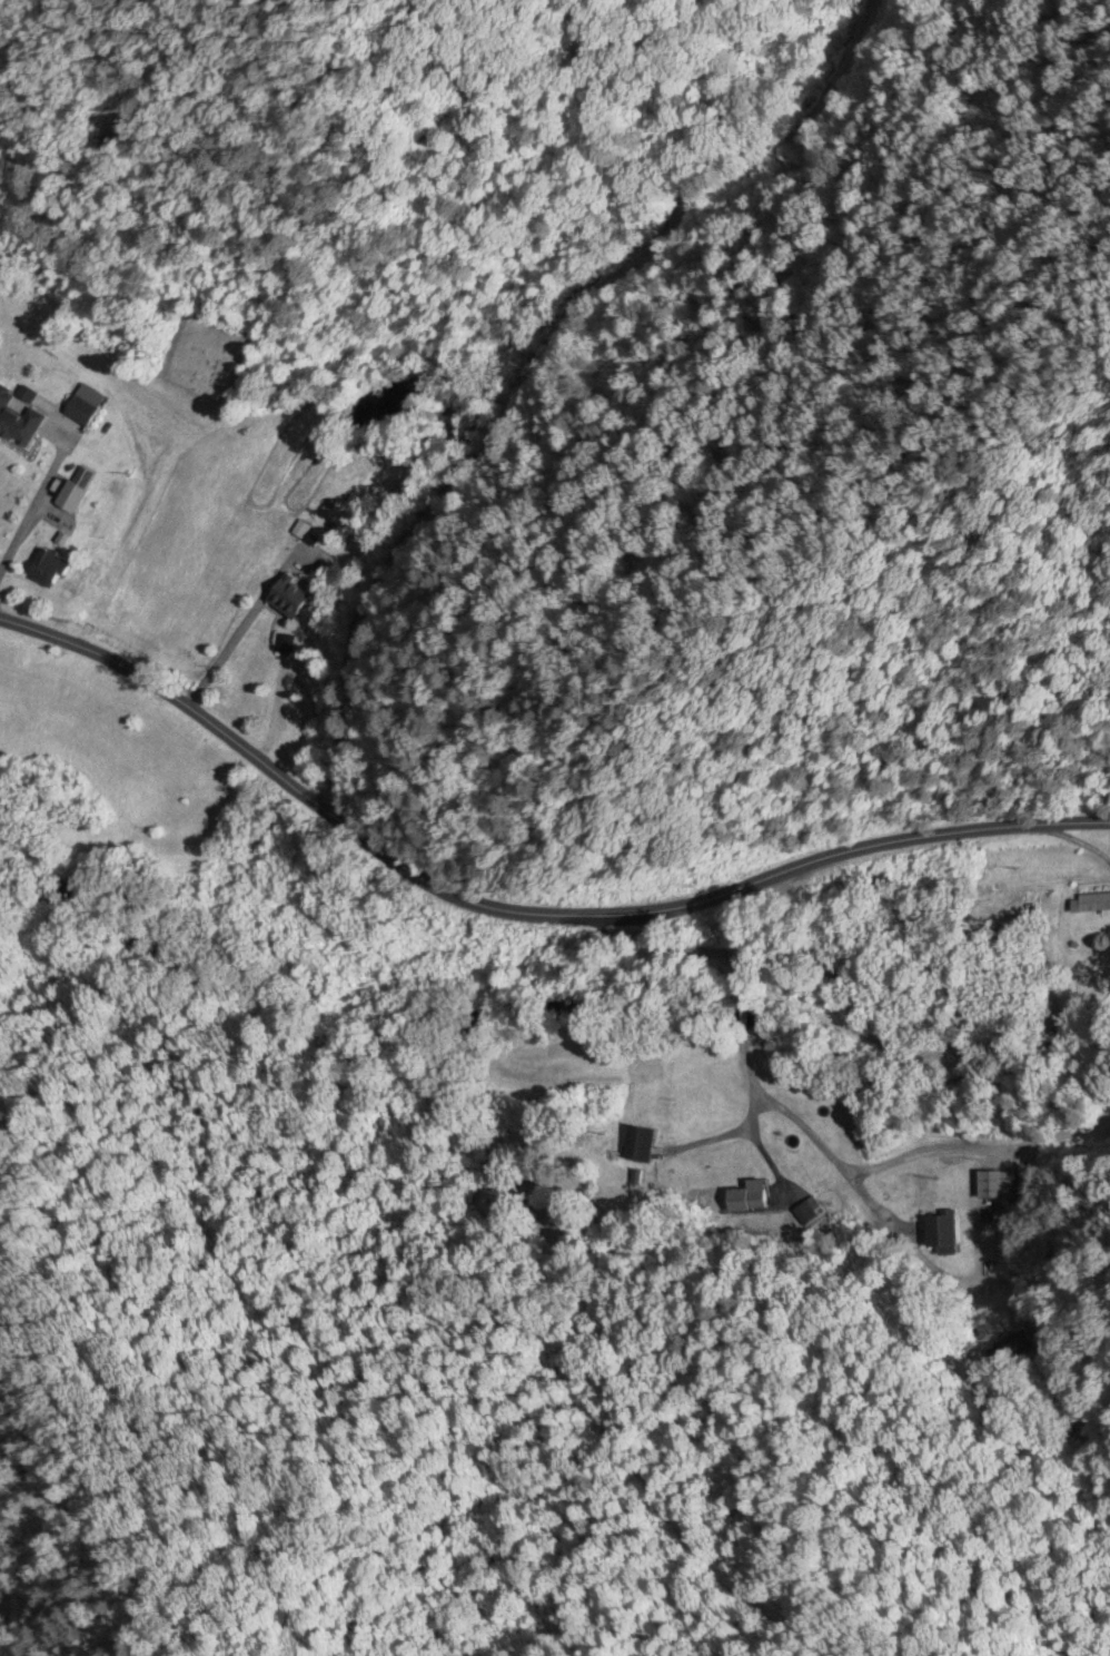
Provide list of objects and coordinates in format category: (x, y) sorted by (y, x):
road: (538, 368)
road: (519, 909)

